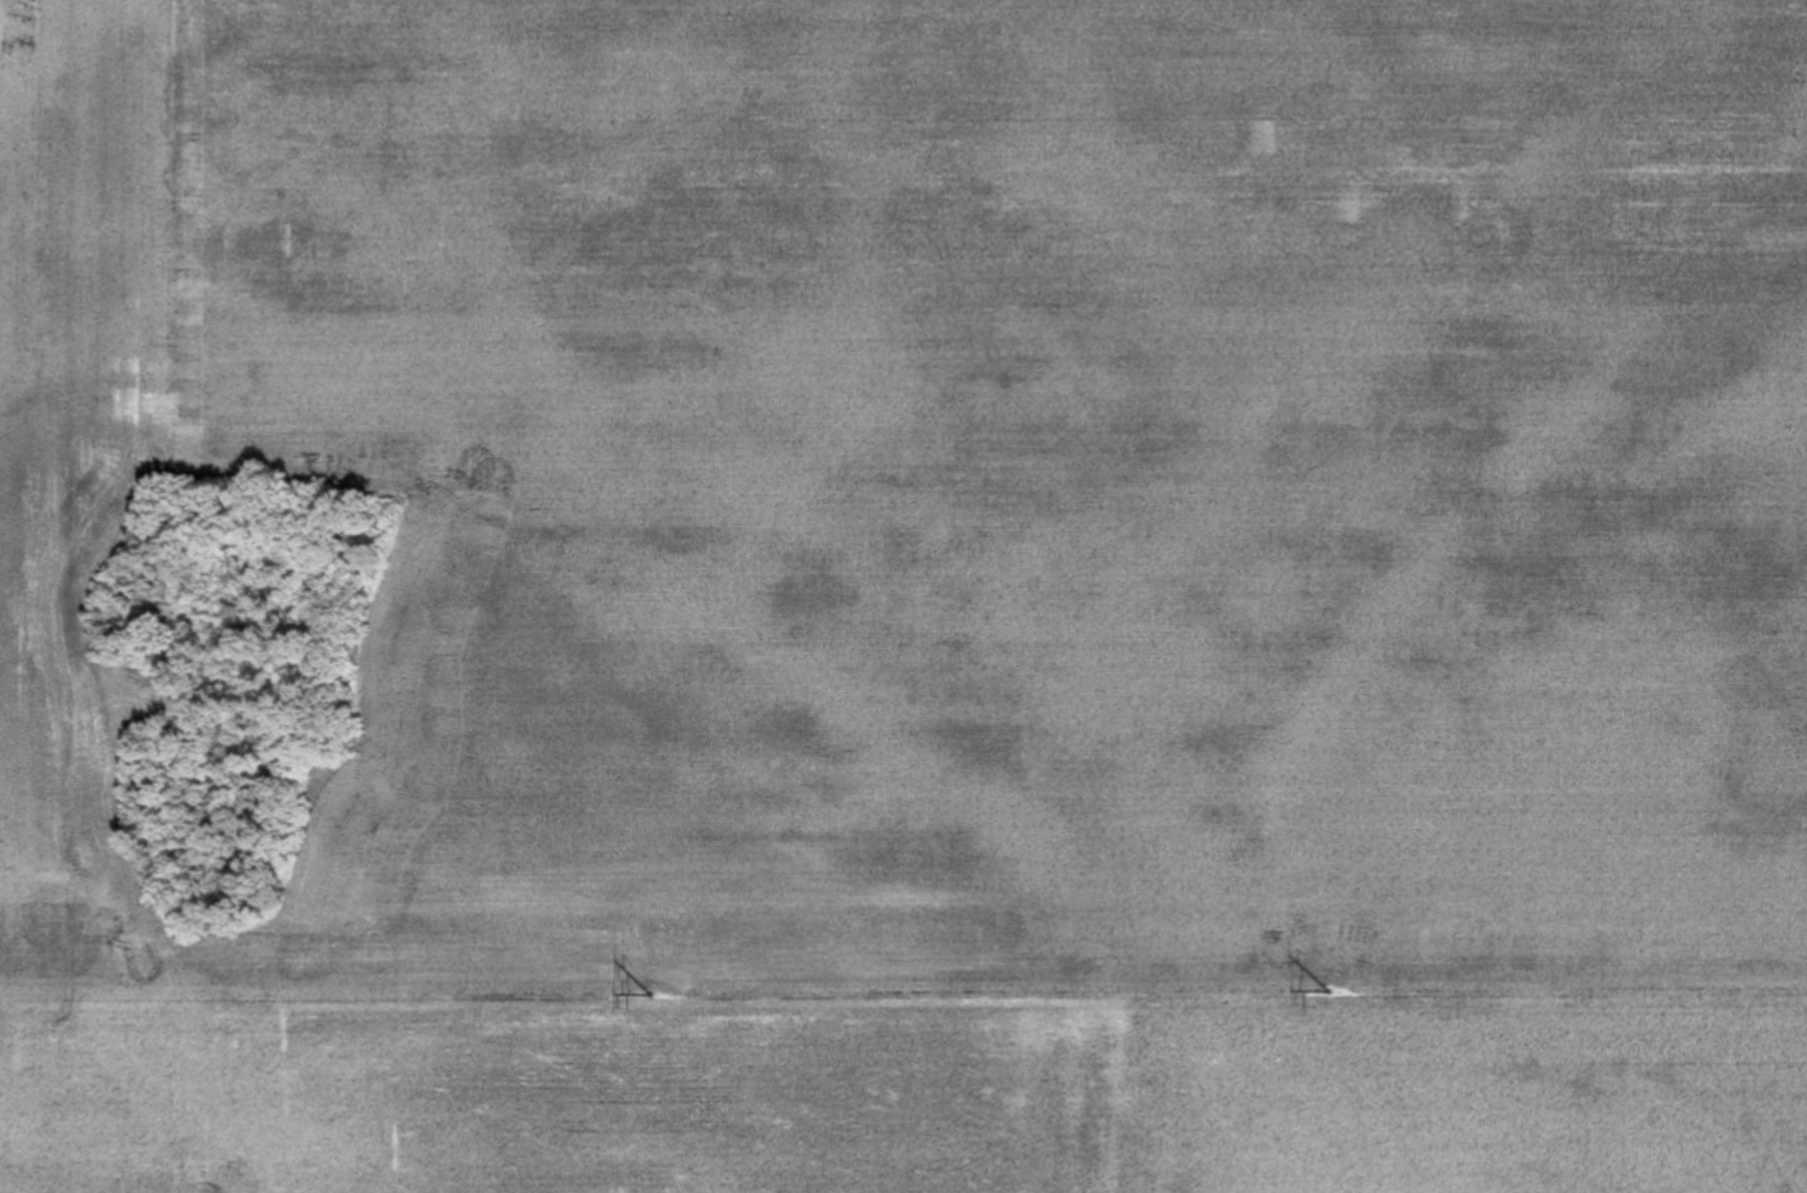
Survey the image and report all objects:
power tower: (1330, 983)
power tower: (657, 987)

